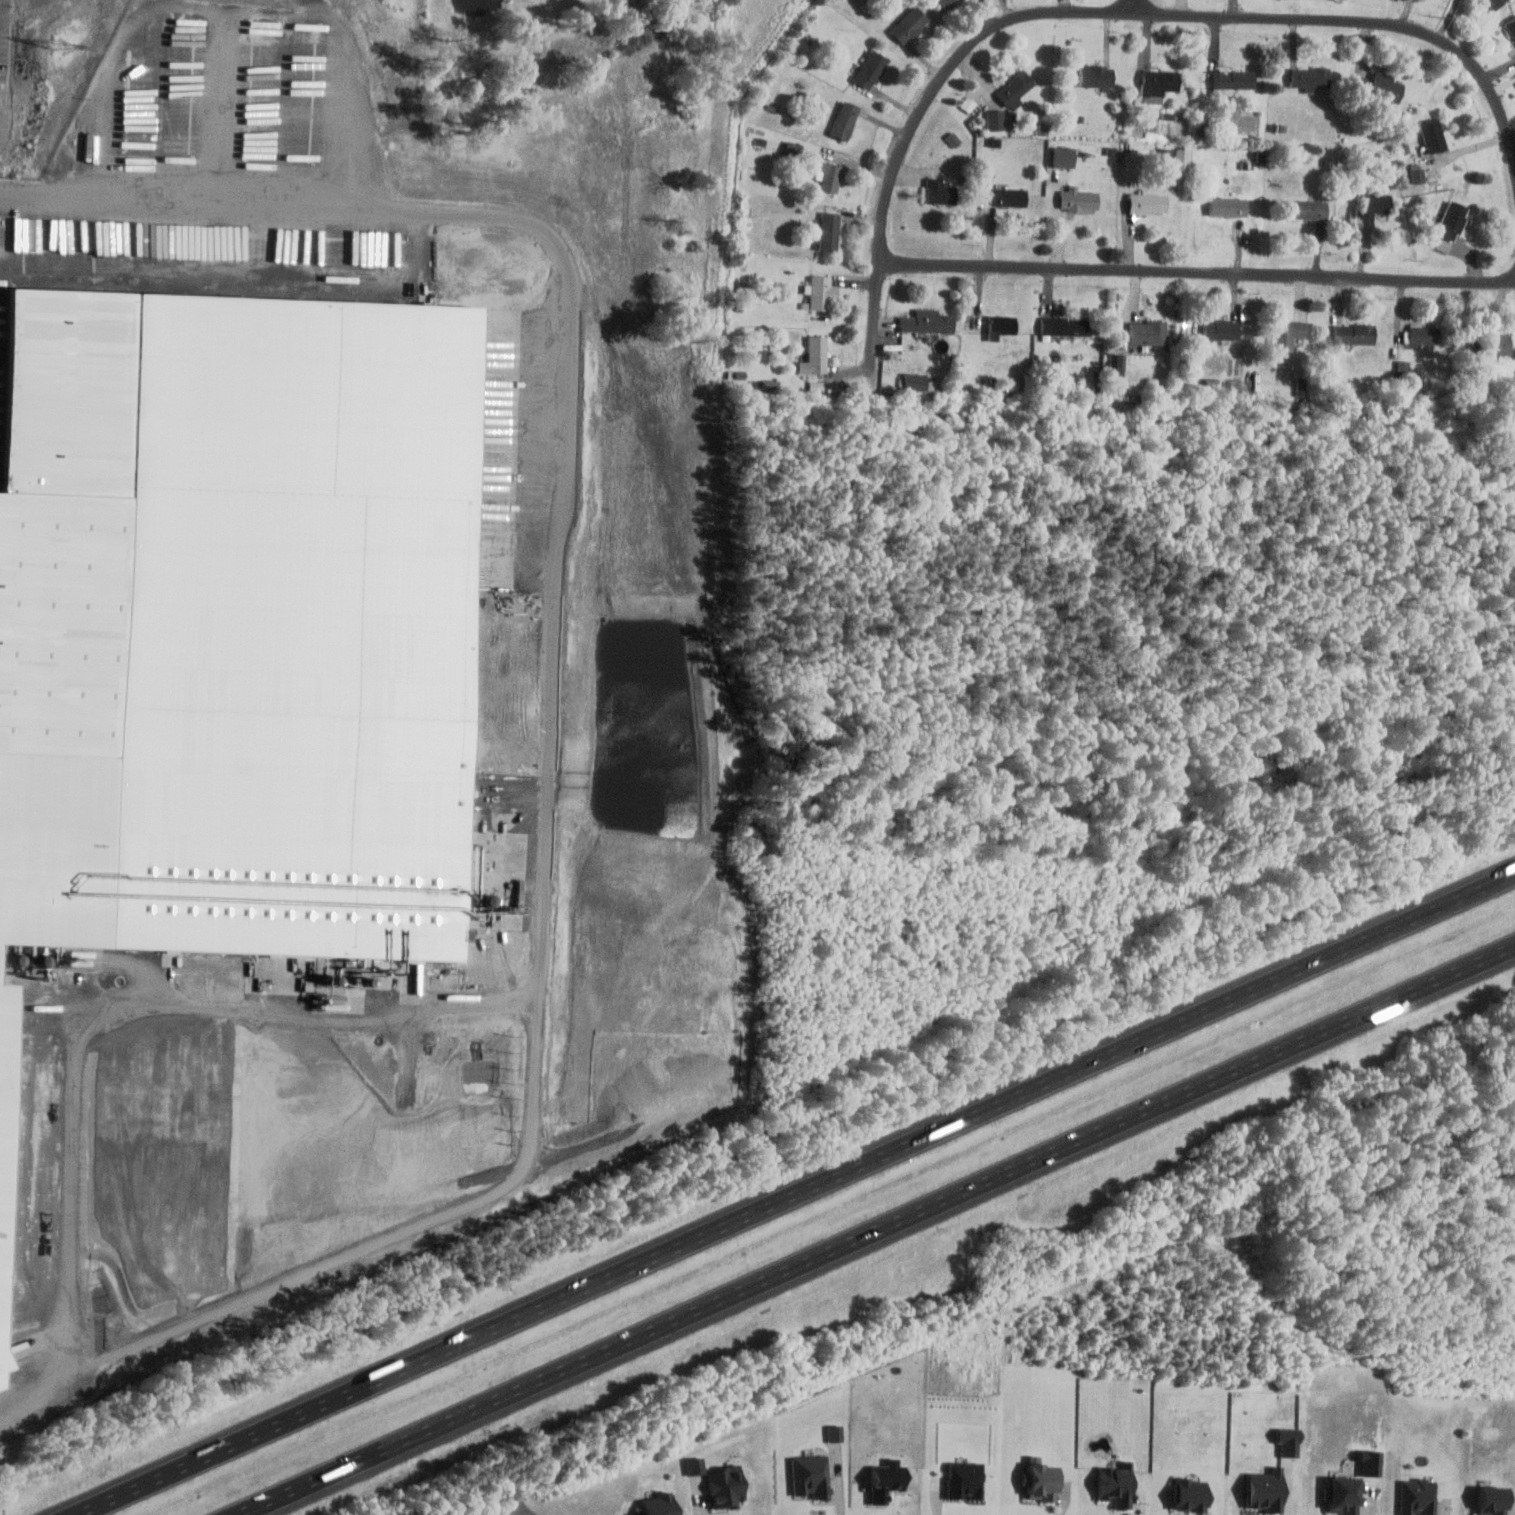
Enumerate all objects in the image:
building: (944, 2)
building: (1491, 3)
road: (1136, 6)
road: (1095, 10)
building: (908, 24)
building: (1510, 27)
building: (869, 70)
building: (1095, 76)
building: (1308, 76)
building: (1229, 81)
building: (1157, 82)
building: (1014, 87)
building: (1378, 87)
road: (343, 99)
building: (995, 119)
building: (842, 120)
building: (1432, 136)
building: (1064, 155)
building: (1180, 166)
building: (1418, 174)
building: (829, 178)
building: (938, 192)
building: (1007, 197)
building: (1077, 198)
building: (1145, 203)
building: (1226, 206)
building: (1371, 207)
building: (1307, 210)
building: (1449, 221)
building: (828, 231)
road: (1197, 272)
building: (821, 292)
building: (927, 323)
building: (1001, 324)
building: (1063, 326)
building: (1220, 330)
building: (1146, 332)
building: (1353, 333)
building: (1286, 334)
building: (1422, 335)
building: (1492, 344)
building: (814, 356)
building: (1117, 362)
building: (914, 381)
building: (1300, 385)
building: (233, 632)
road: (542, 778)
road: (1084, 1136)
road: (795, 1194)
road: (444, 1421)
building: (835, 1432)
building: (1289, 1441)
building: (1371, 1463)
building: (695, 1465)
building: (811, 1476)
building: (965, 1480)
building: (1041, 1482)
building: (1116, 1485)
building: (725, 1486)
building: (1266, 1490)
building: (1191, 1494)
building: (1342, 1495)
building: (1418, 1496)
building: (1493, 1500)
building: (658, 1504)

